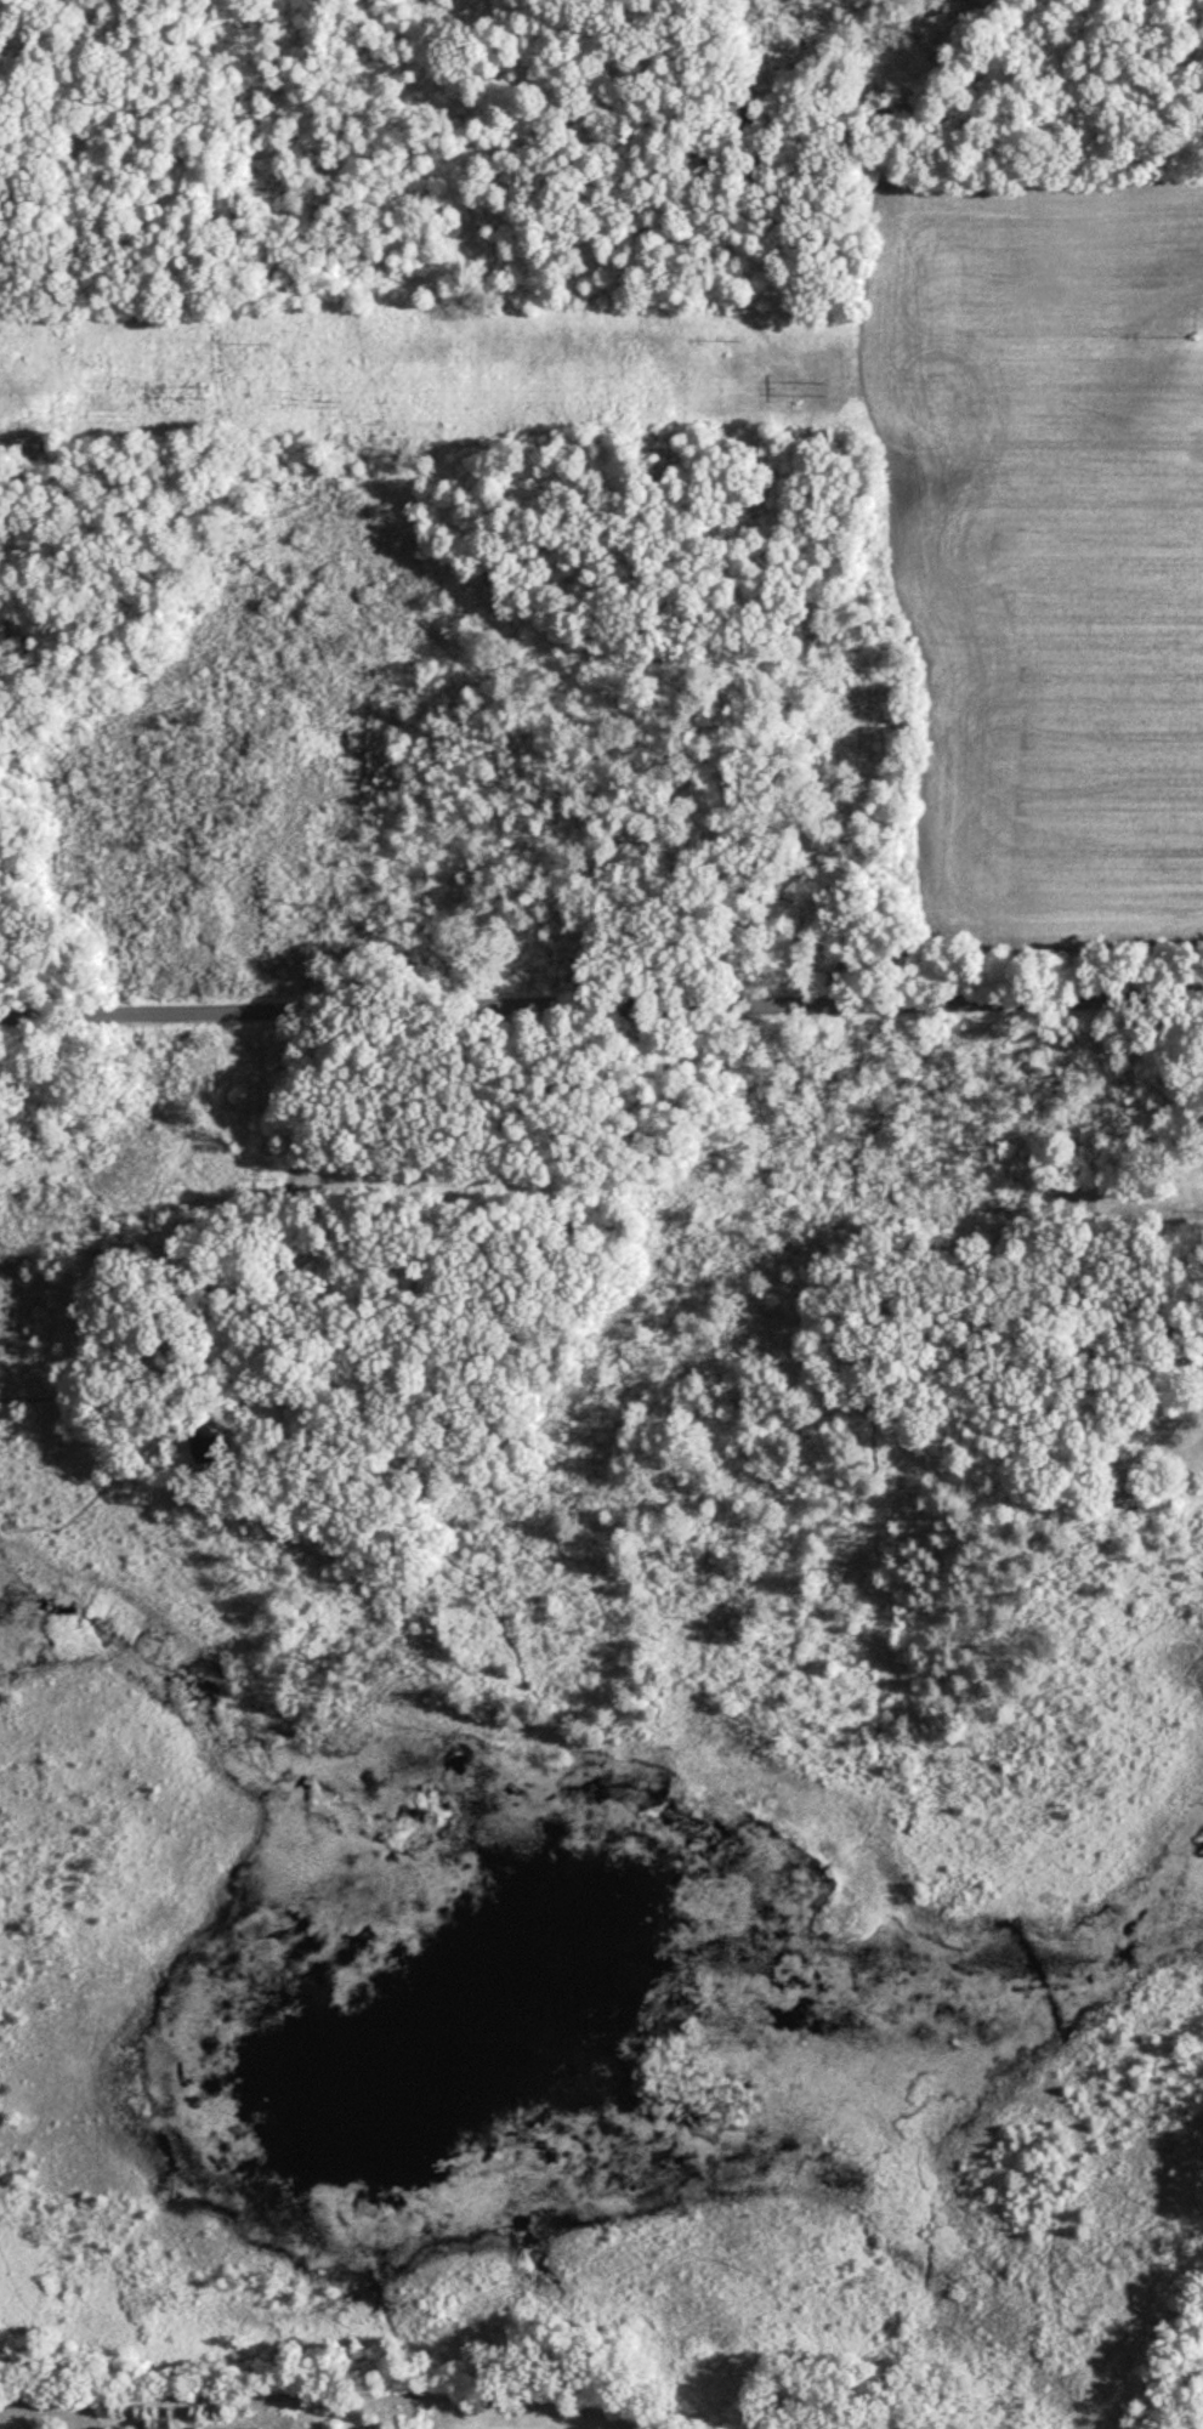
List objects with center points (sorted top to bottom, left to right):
road: (601, 1011)

